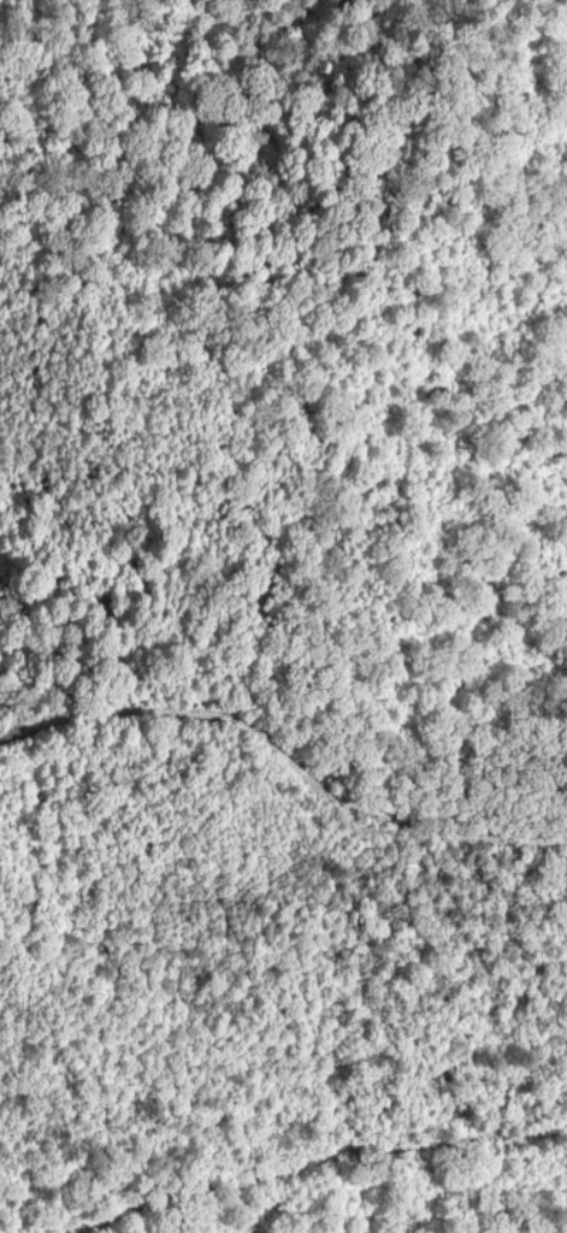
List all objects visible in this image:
road: (278, 762)

